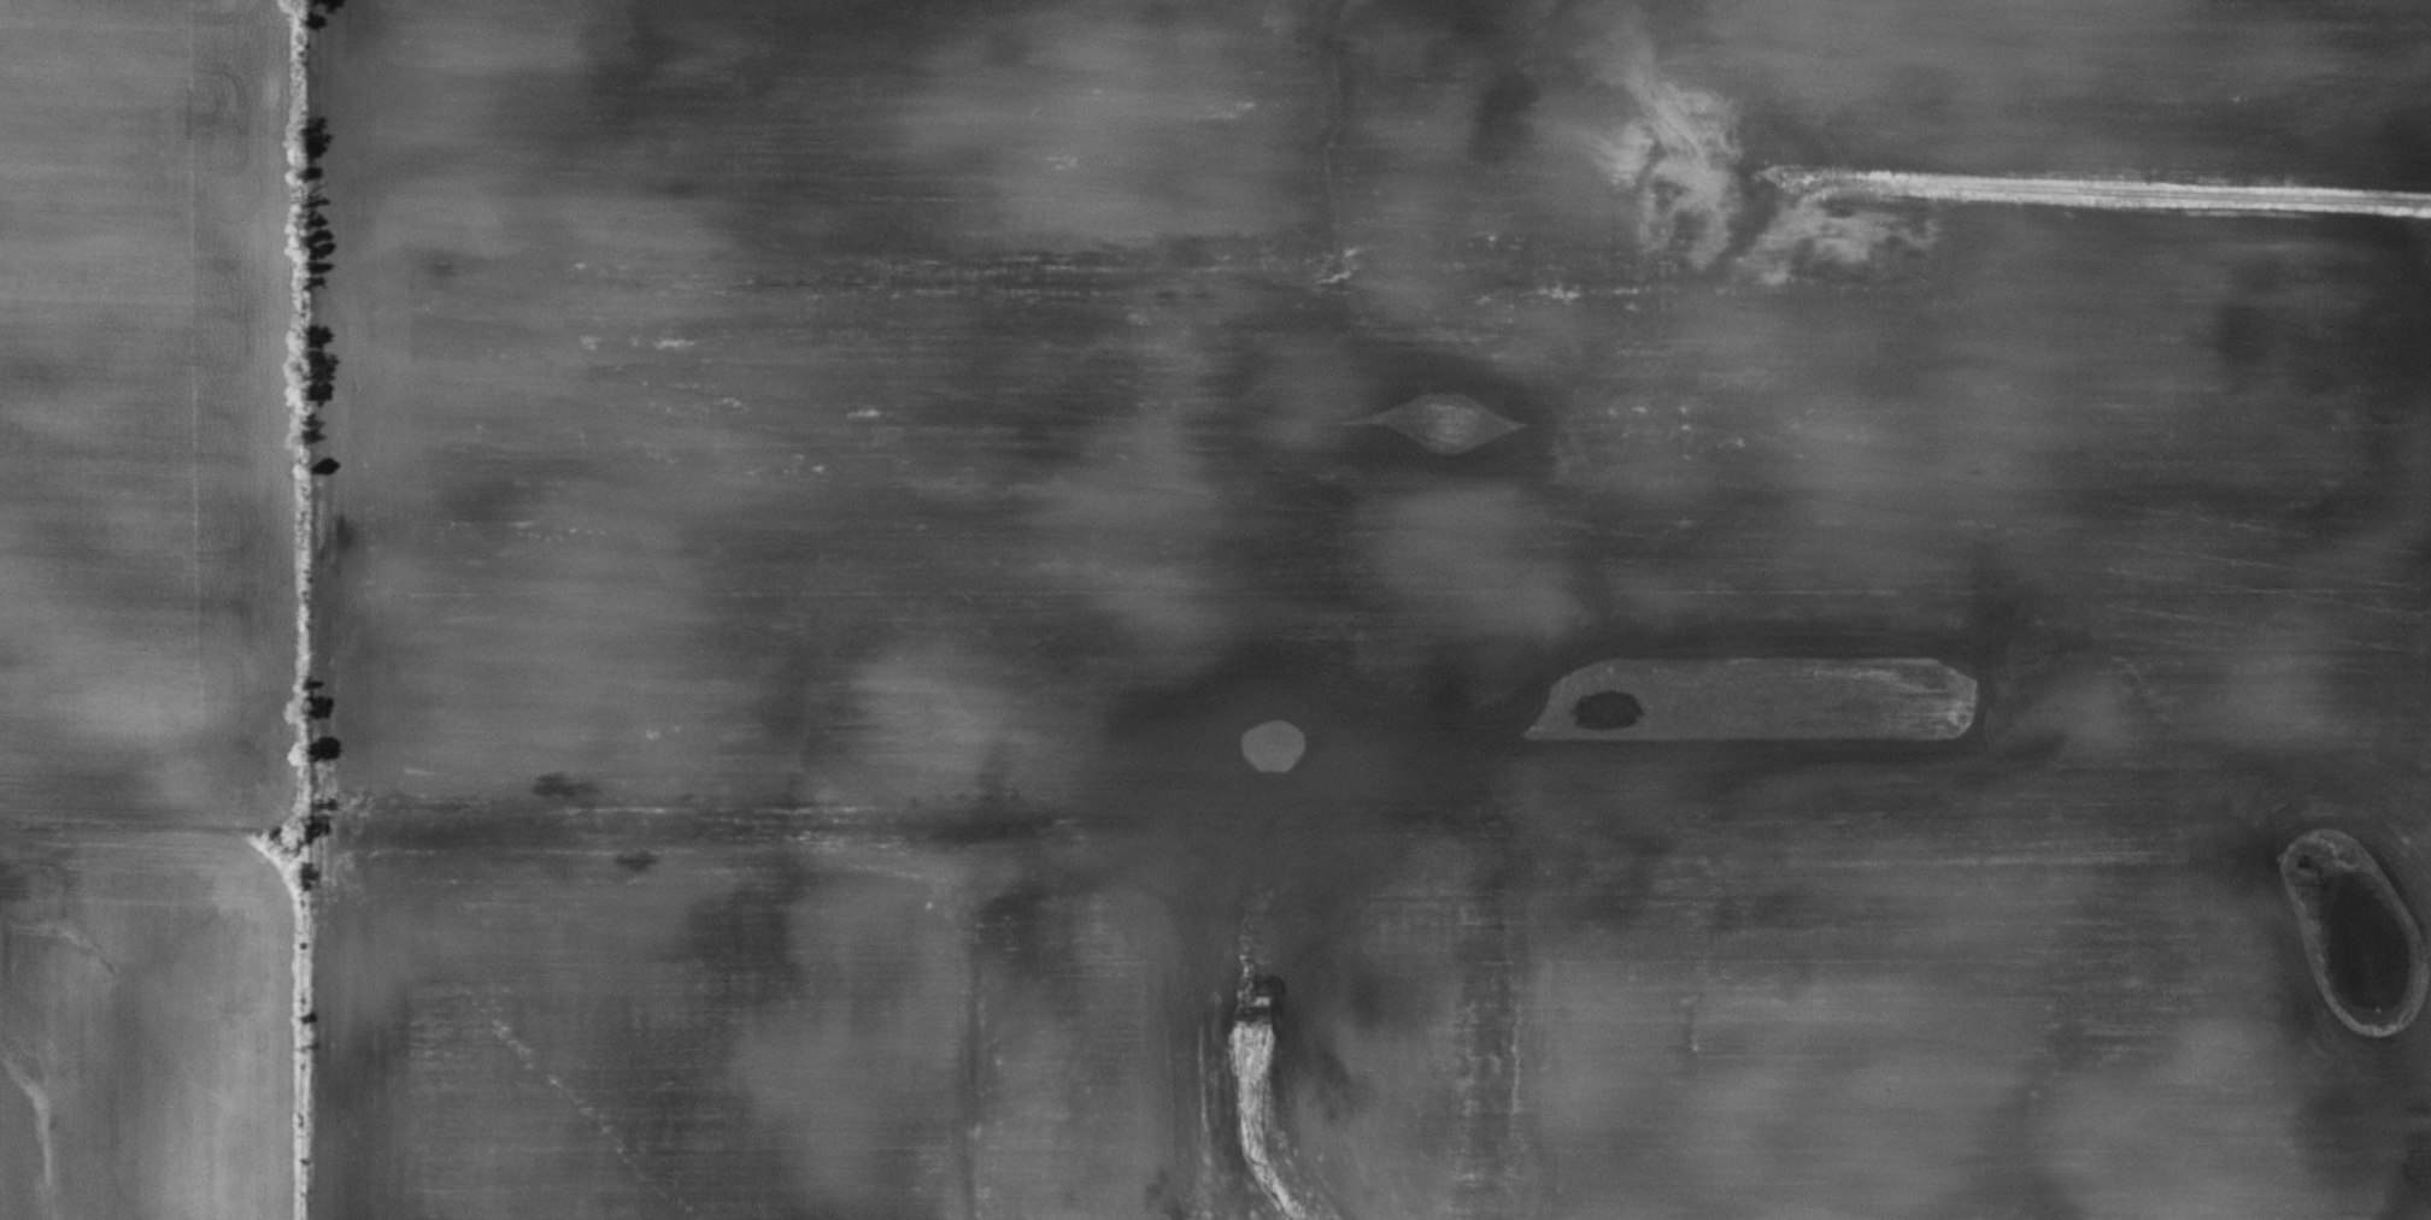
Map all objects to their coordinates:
road: (2169, 191)

